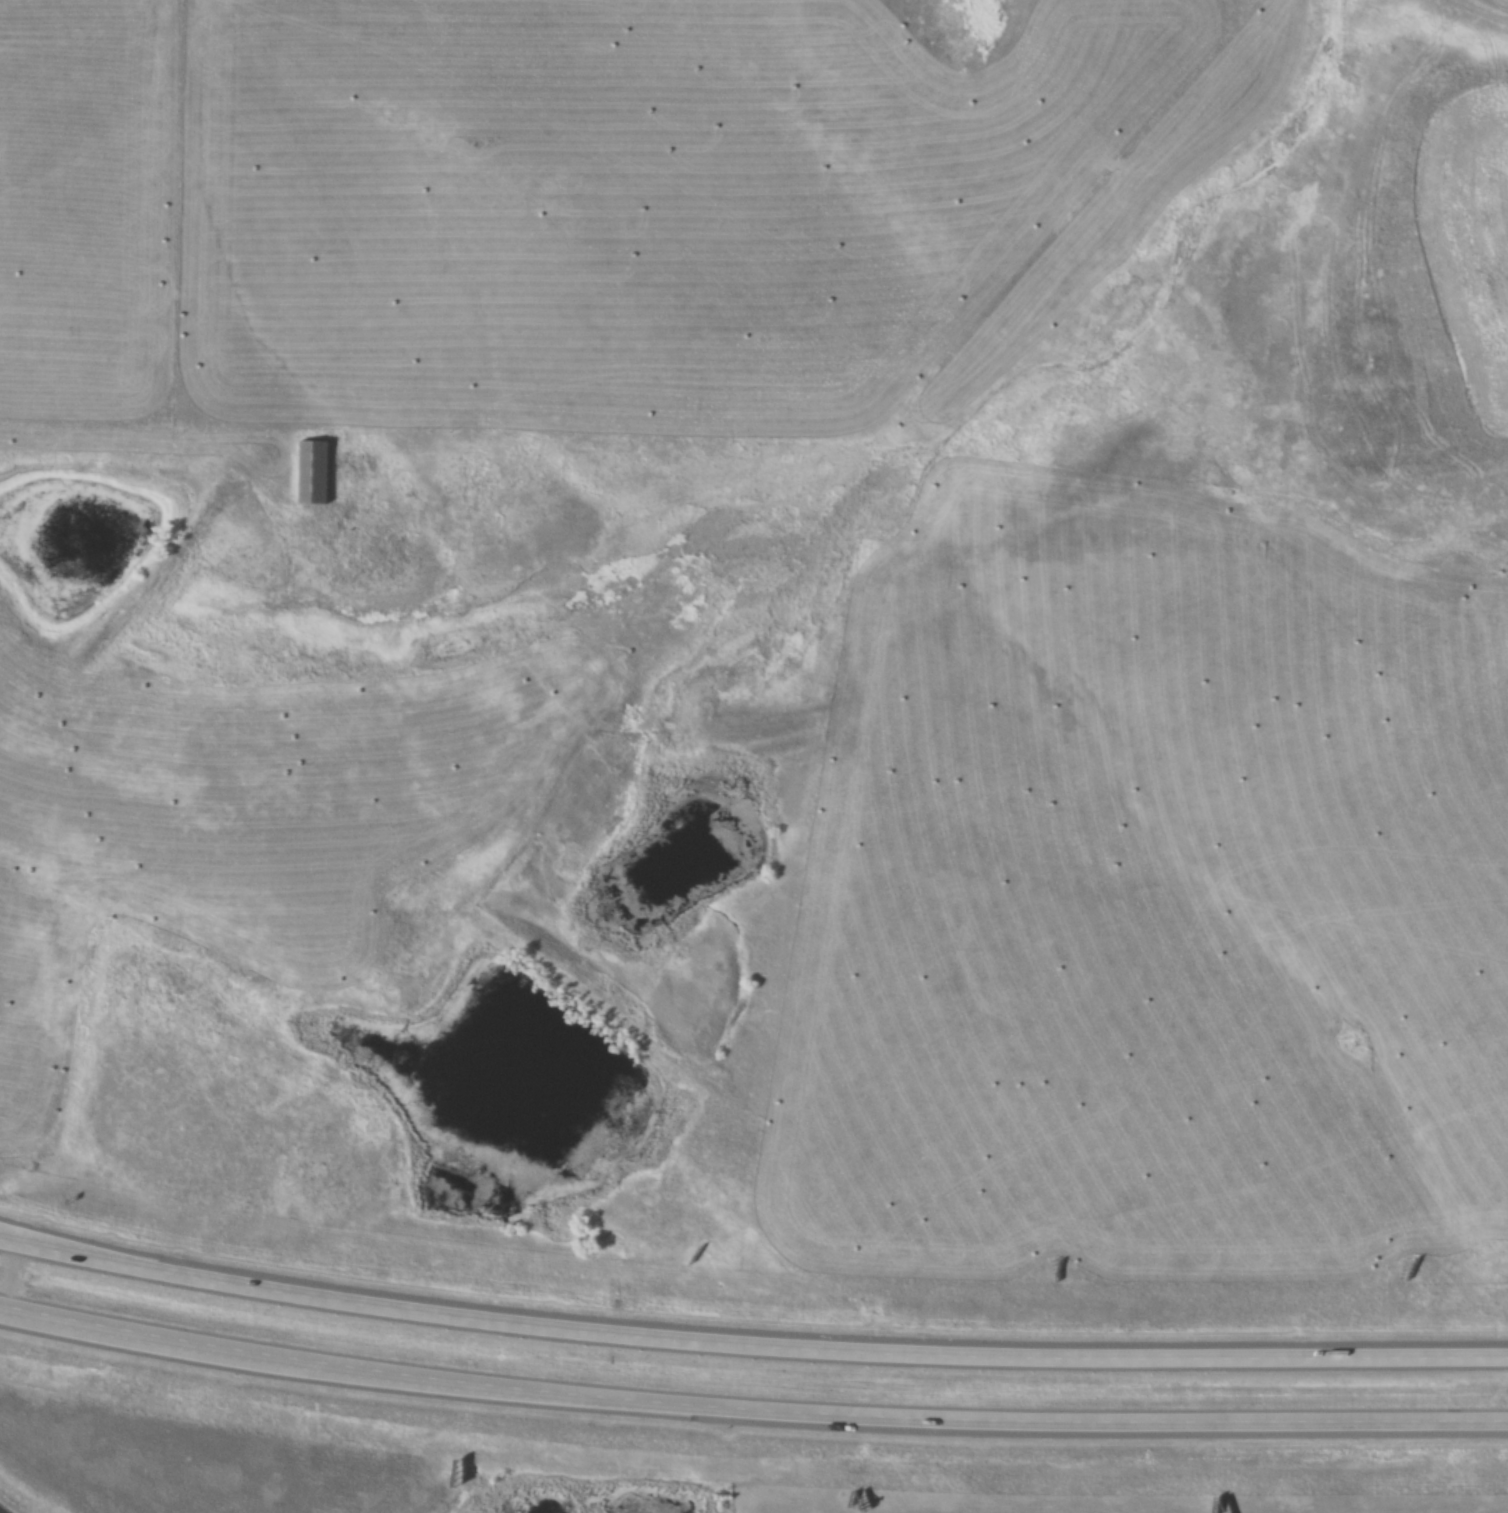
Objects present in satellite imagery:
building: (316, 474)
road: (9, 1279)
road: (750, 1347)
road: (750, 1412)

